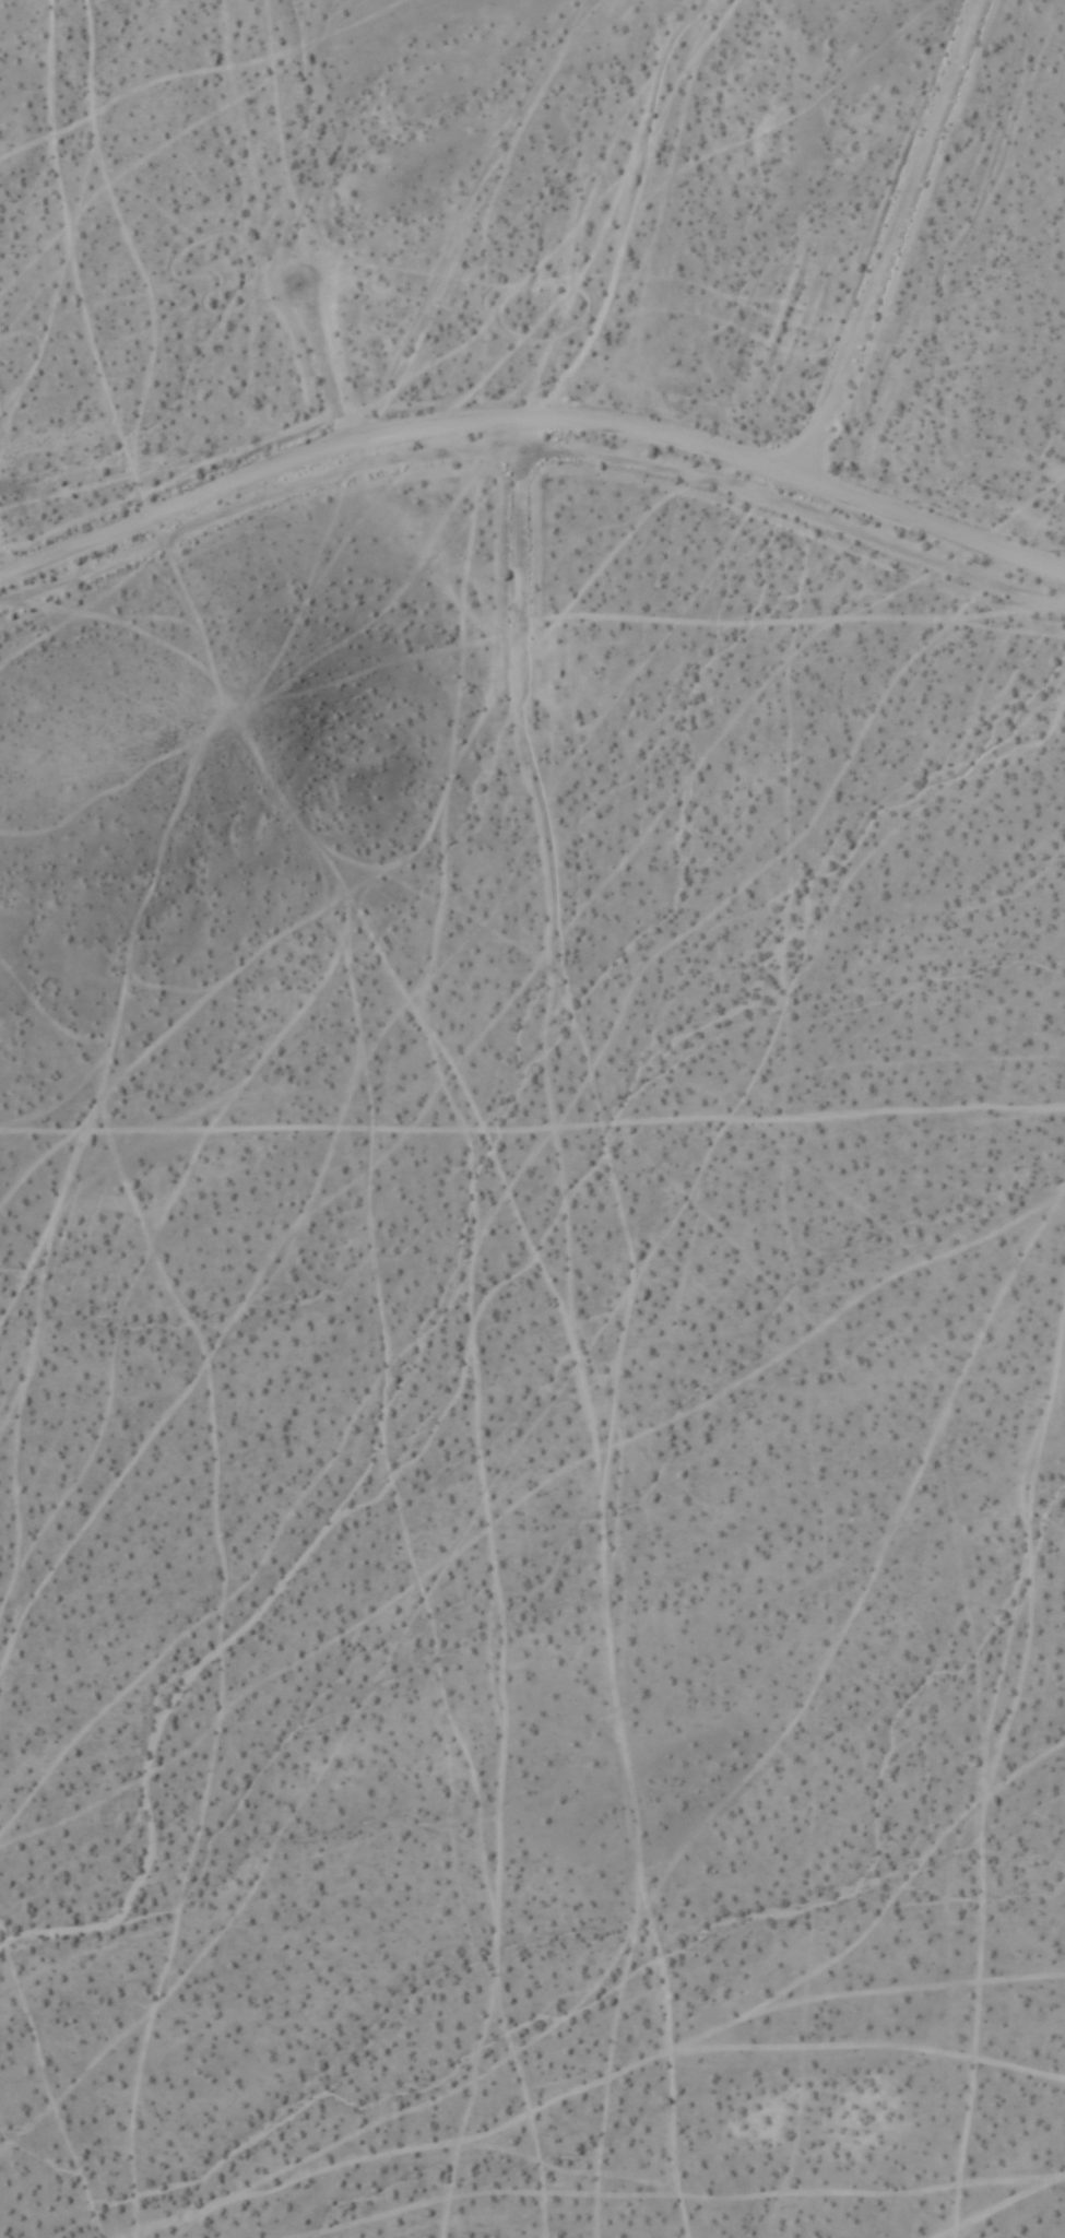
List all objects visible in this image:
road: (884, 255)
road: (323, 363)
road: (532, 416)
road: (533, 454)
road: (525, 553)

